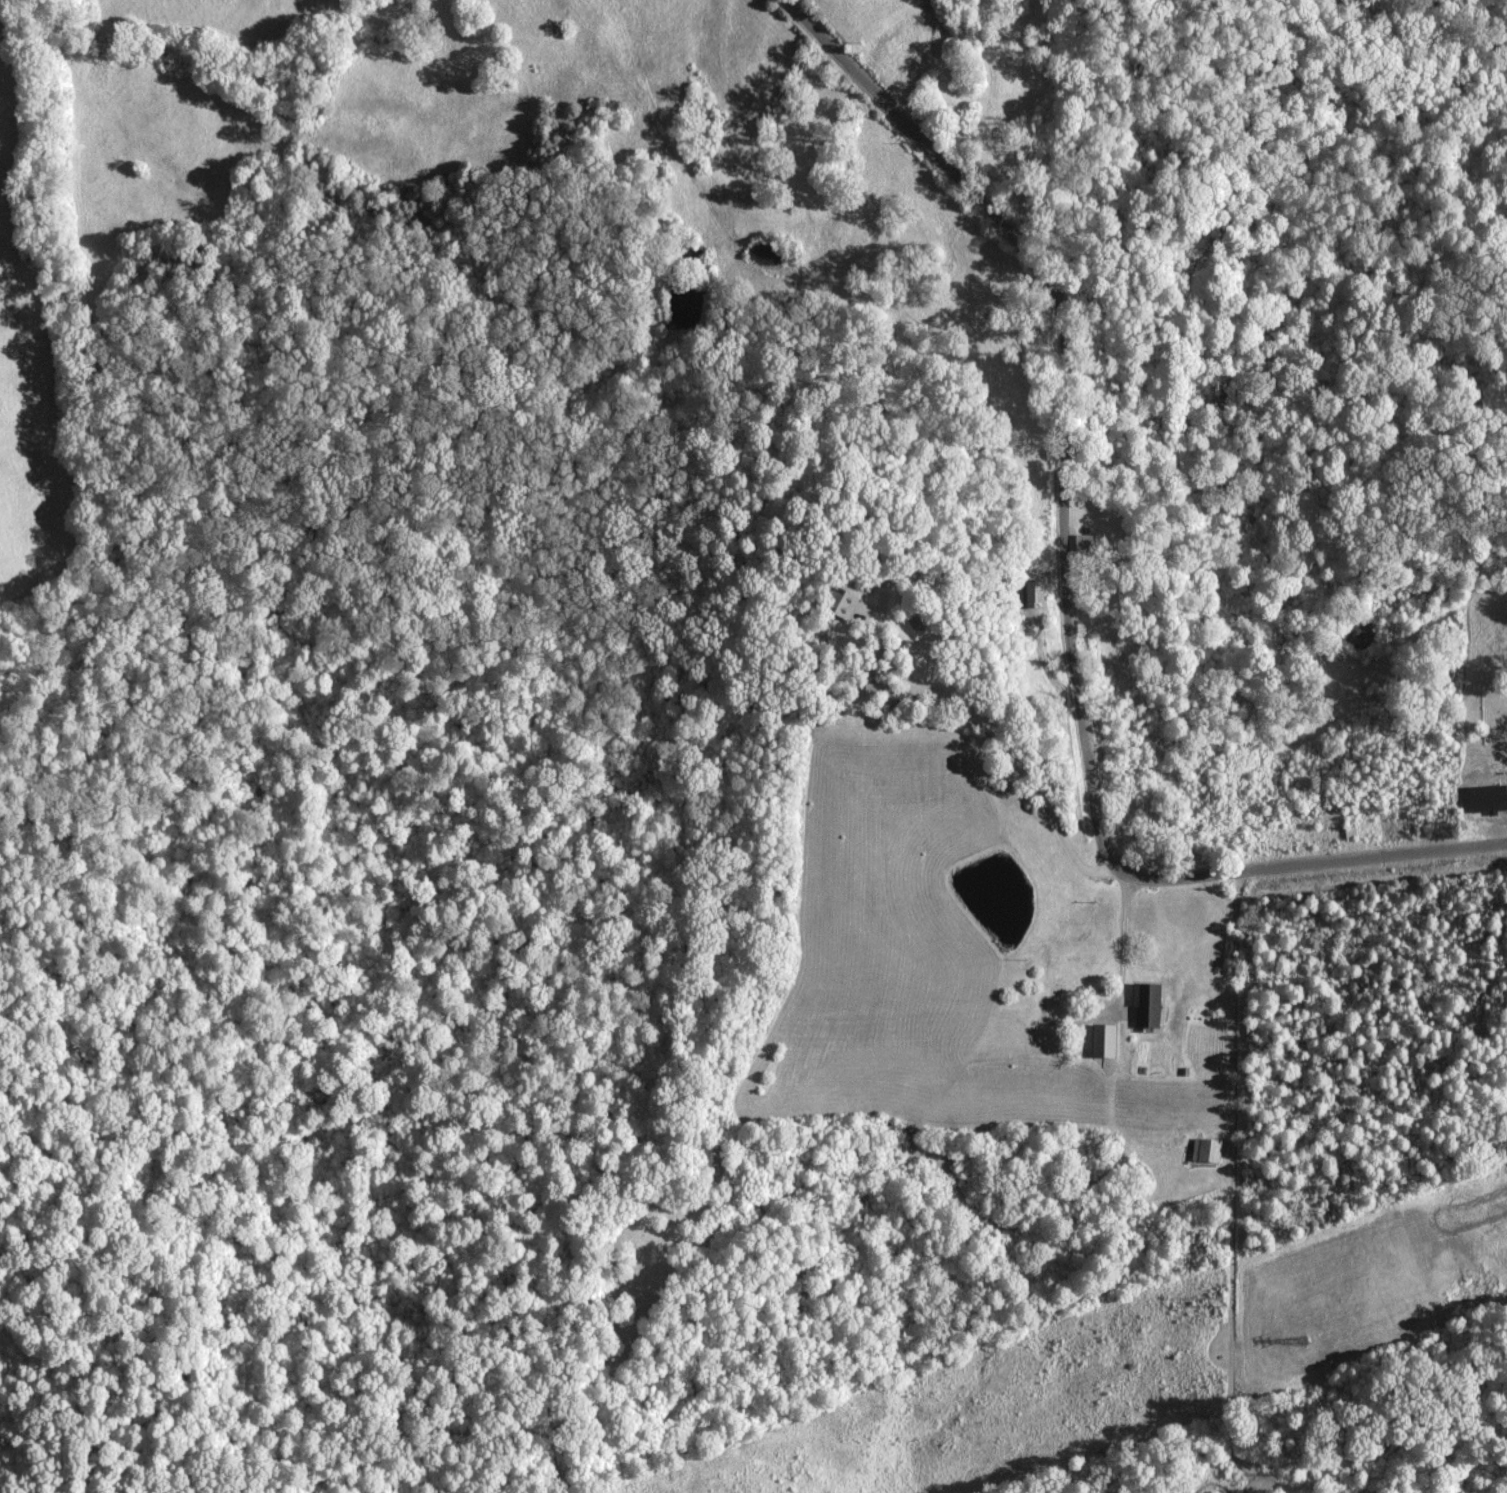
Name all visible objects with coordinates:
road: (1079, 579)
building: (1018, 595)
building: (833, 604)
building: (1143, 1007)
building: (1203, 1152)

